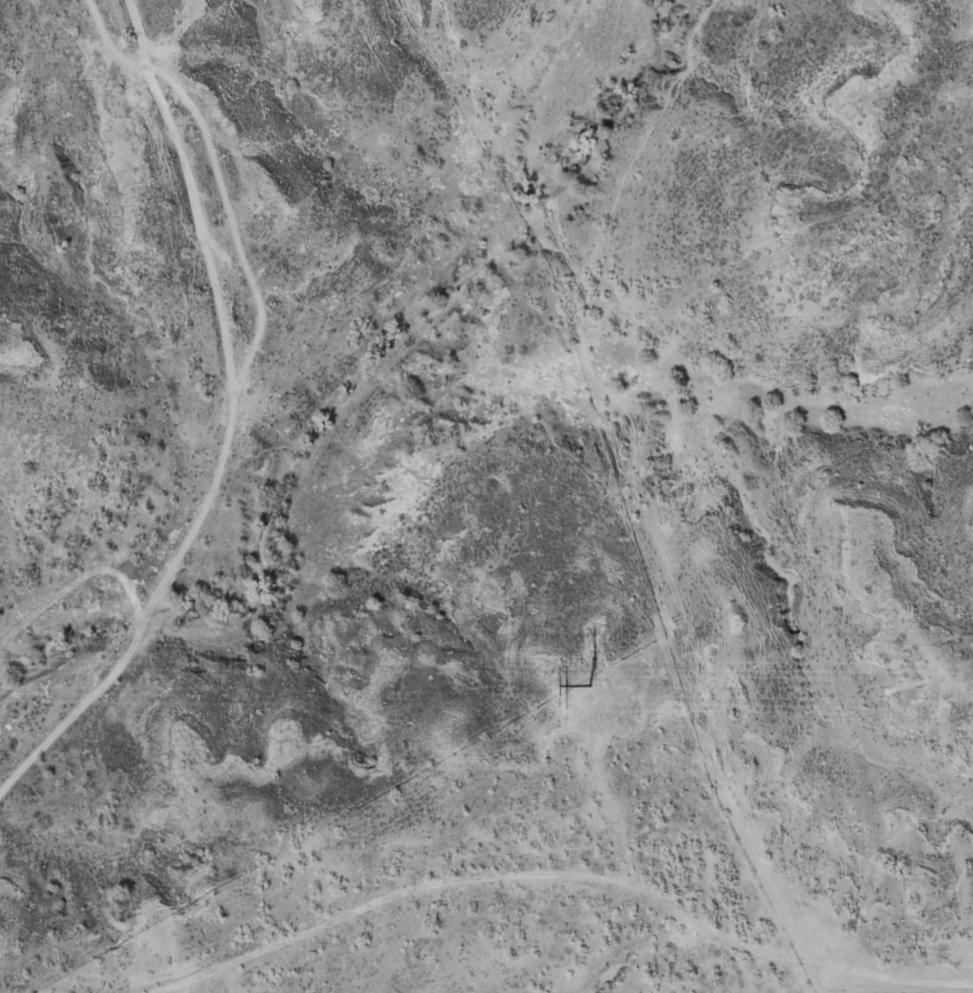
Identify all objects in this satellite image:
road: (229, 419)
power tower: (587, 684)
road: (69, 726)
road: (378, 912)

